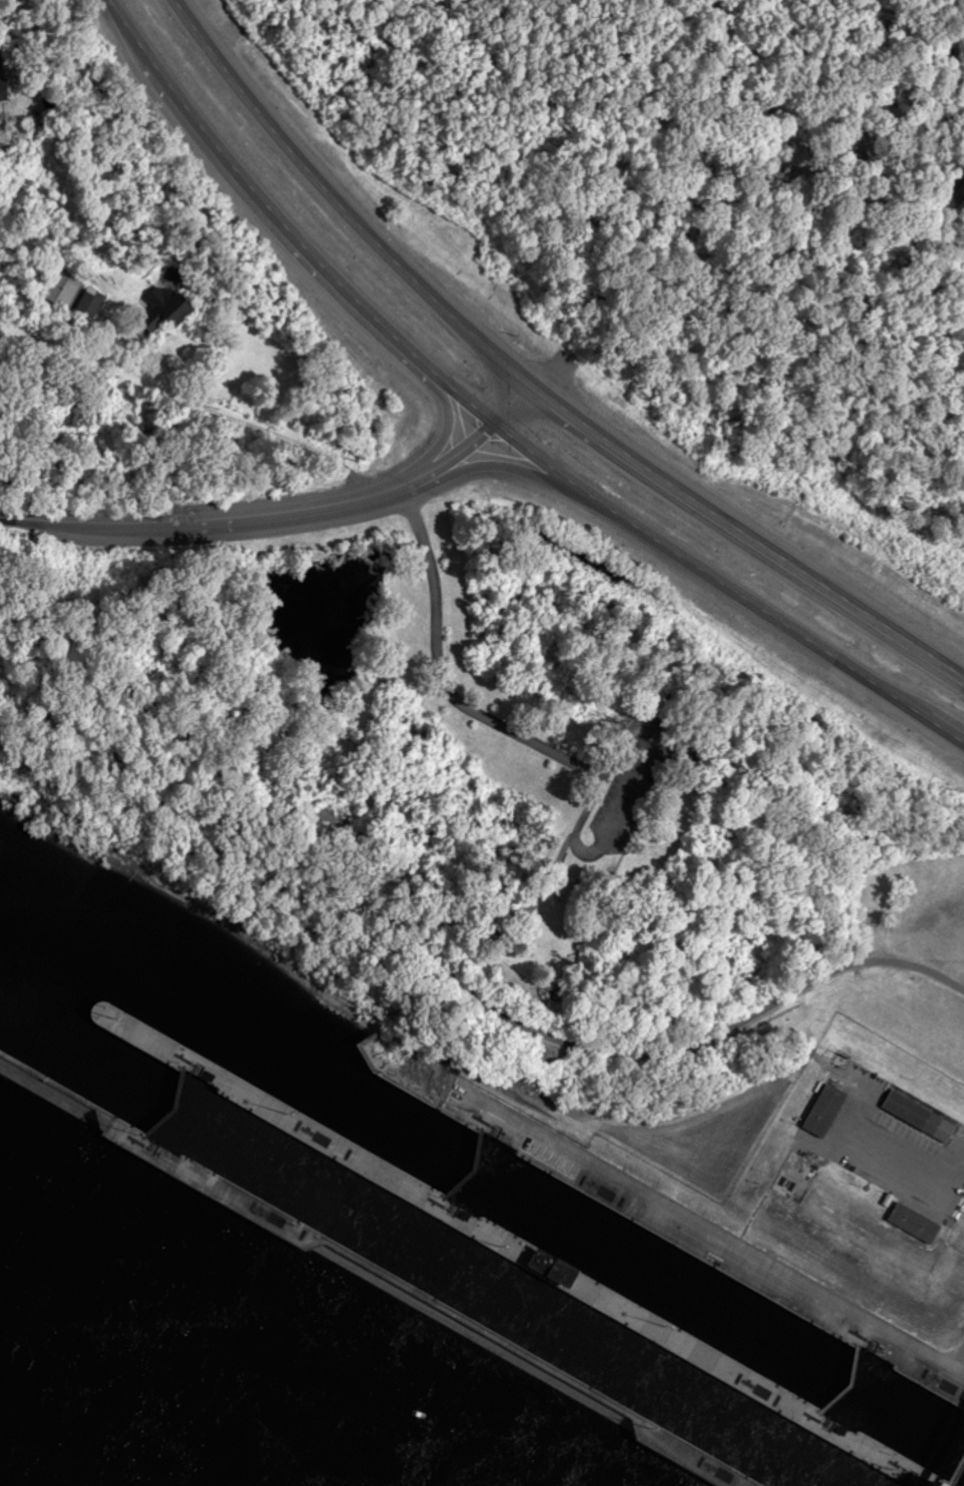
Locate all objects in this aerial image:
building: (3, 90)
road: (342, 209)
building: (63, 288)
building: (92, 302)
road: (490, 423)
road: (283, 511)
road: (749, 538)
building: (664, 747)
road: (582, 756)
park: (552, 787)
parking lot: (617, 793)
road: (650, 802)
road: (596, 918)
road: (442, 958)
park: (908, 964)
river: (239, 1040)
river: (80, 1062)
building: (825, 1110)
building: (919, 1116)
road: (905, 1158)
building: (915, 1223)
river: (657, 1279)
river: (493, 1299)
river: (905, 1419)

